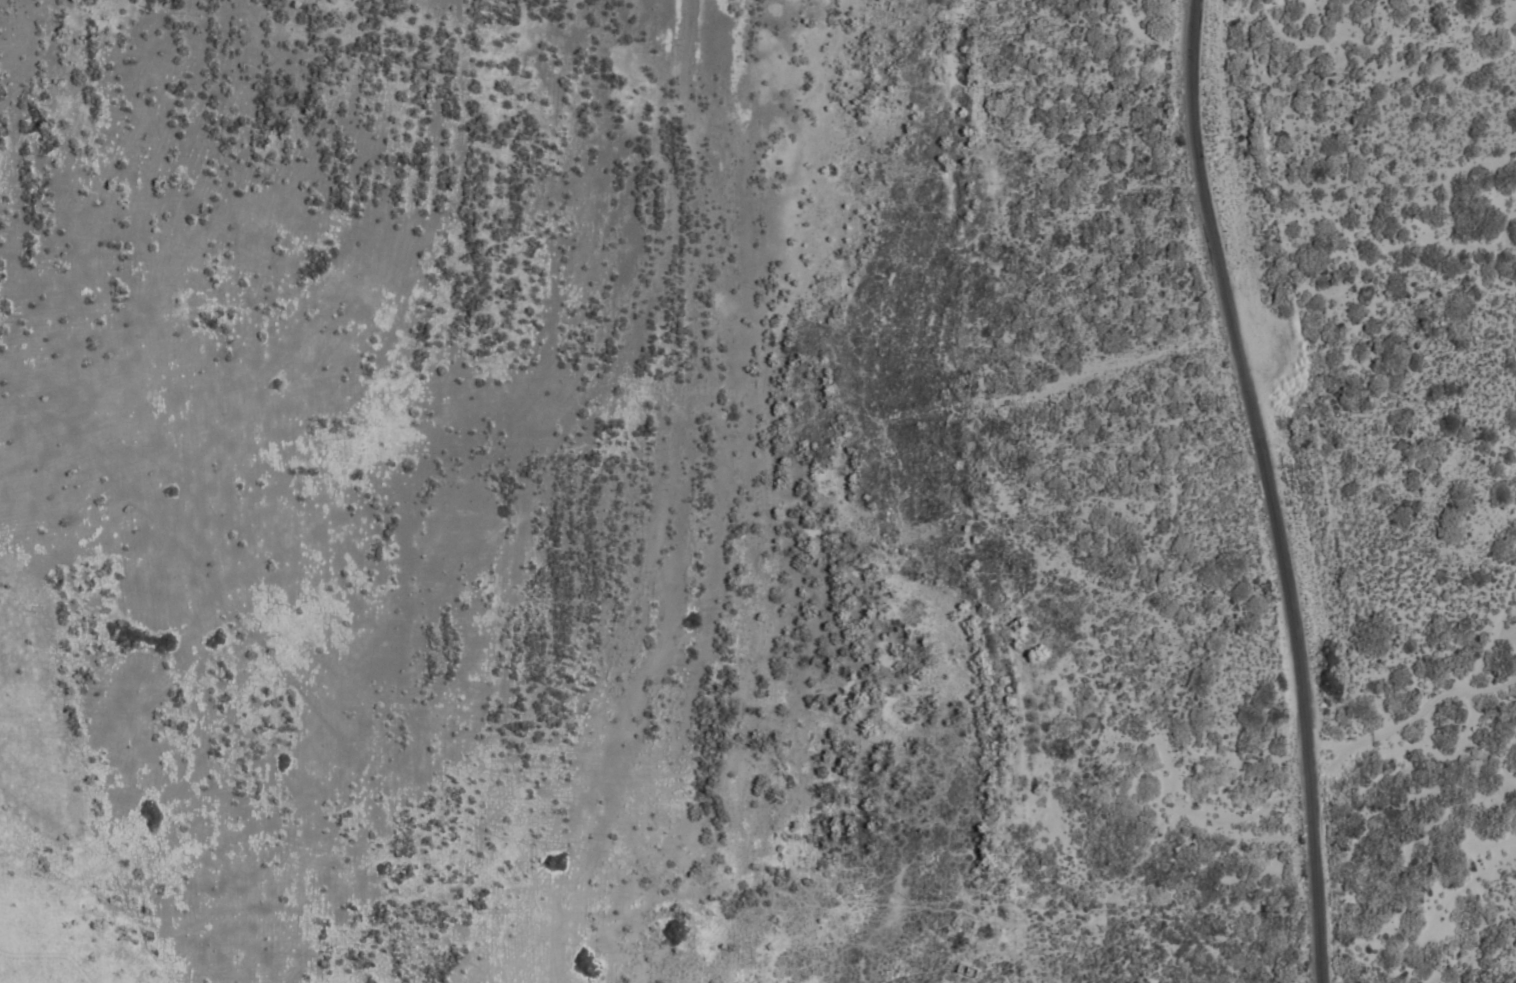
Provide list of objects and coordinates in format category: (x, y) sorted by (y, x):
road: (1241, 498)
road: (1422, 681)
road: (325, 932)

